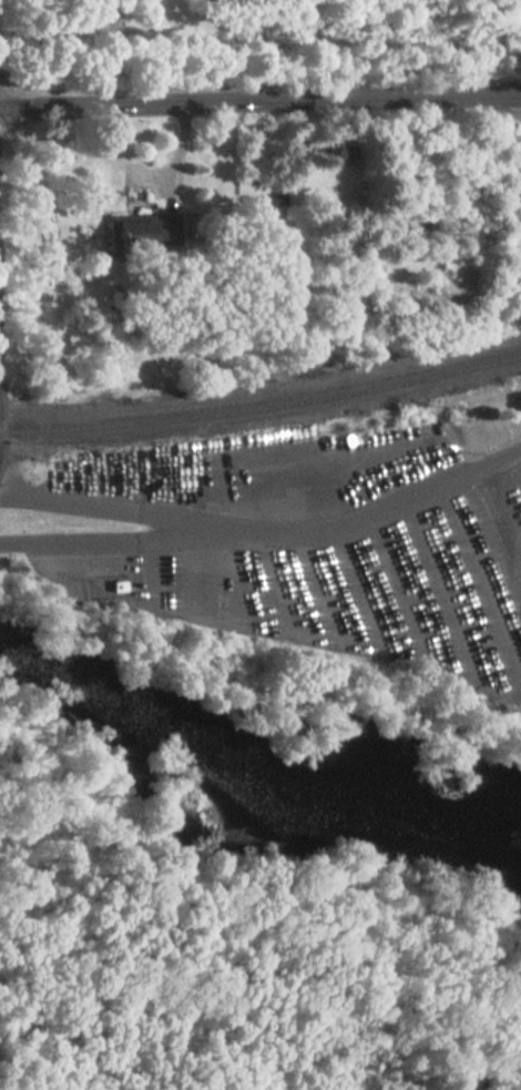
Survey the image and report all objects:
road: (260, 101)
road: (11, 125)
building: (338, 149)
power substation: (519, 165)
building: (146, 231)
railway: (262, 406)
road: (266, 528)
road: (141, 533)
parking lot: (338, 546)
river: (251, 784)
road: (47, 1041)

